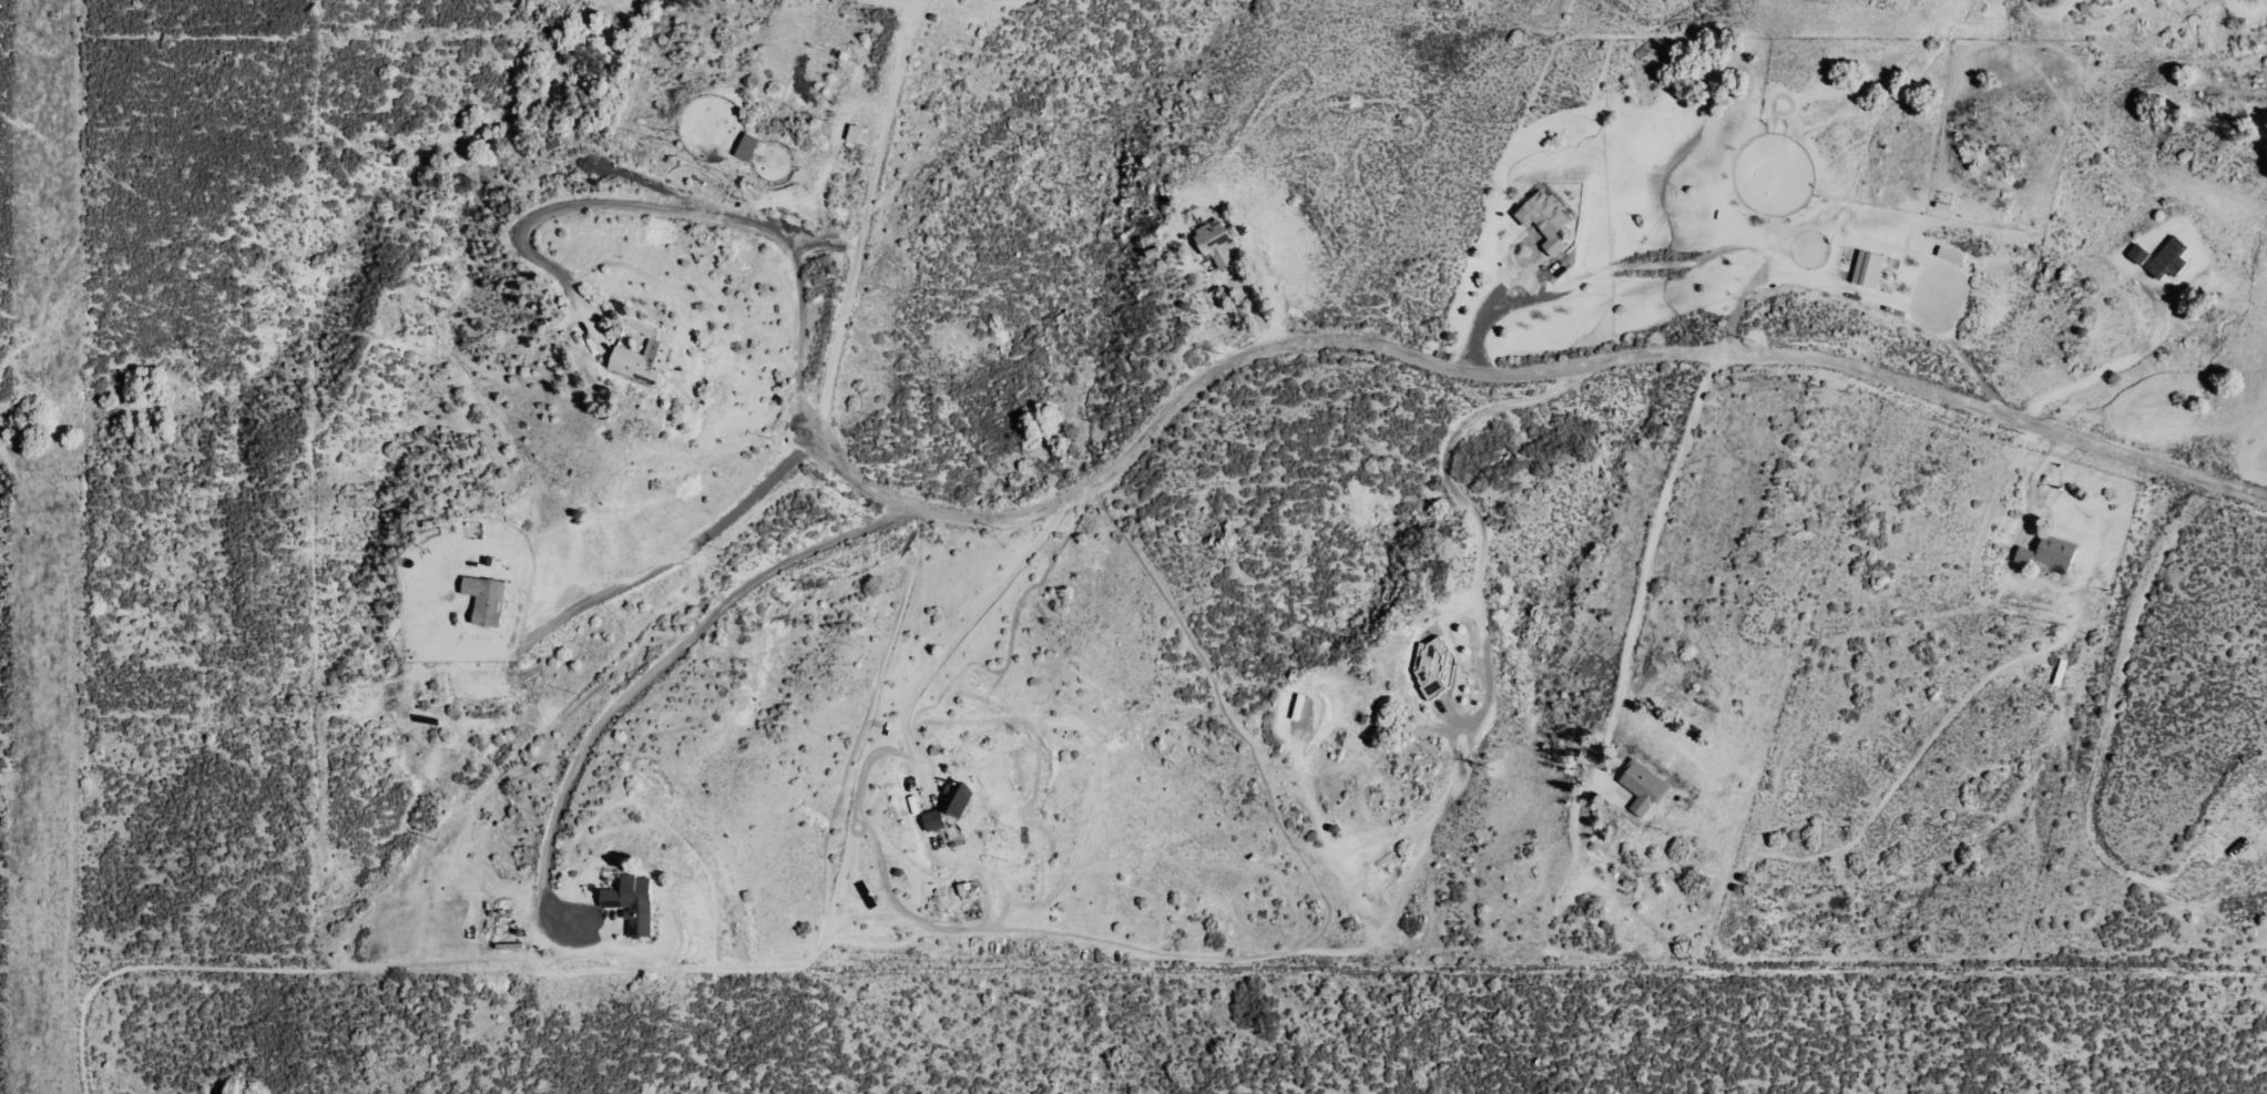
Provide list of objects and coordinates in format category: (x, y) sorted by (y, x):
building: (856, 132)
building: (748, 146)
building: (1549, 219)
building: (1217, 242)
building: (2140, 253)
building: (1952, 254)
building: (2171, 257)
building: (1869, 268)
building: (641, 359)
road: (1497, 367)
building: (2051, 552)
building: (487, 599)
building: (1433, 663)
building: (1644, 786)
building: (958, 798)
building: (933, 819)
building: (633, 902)

